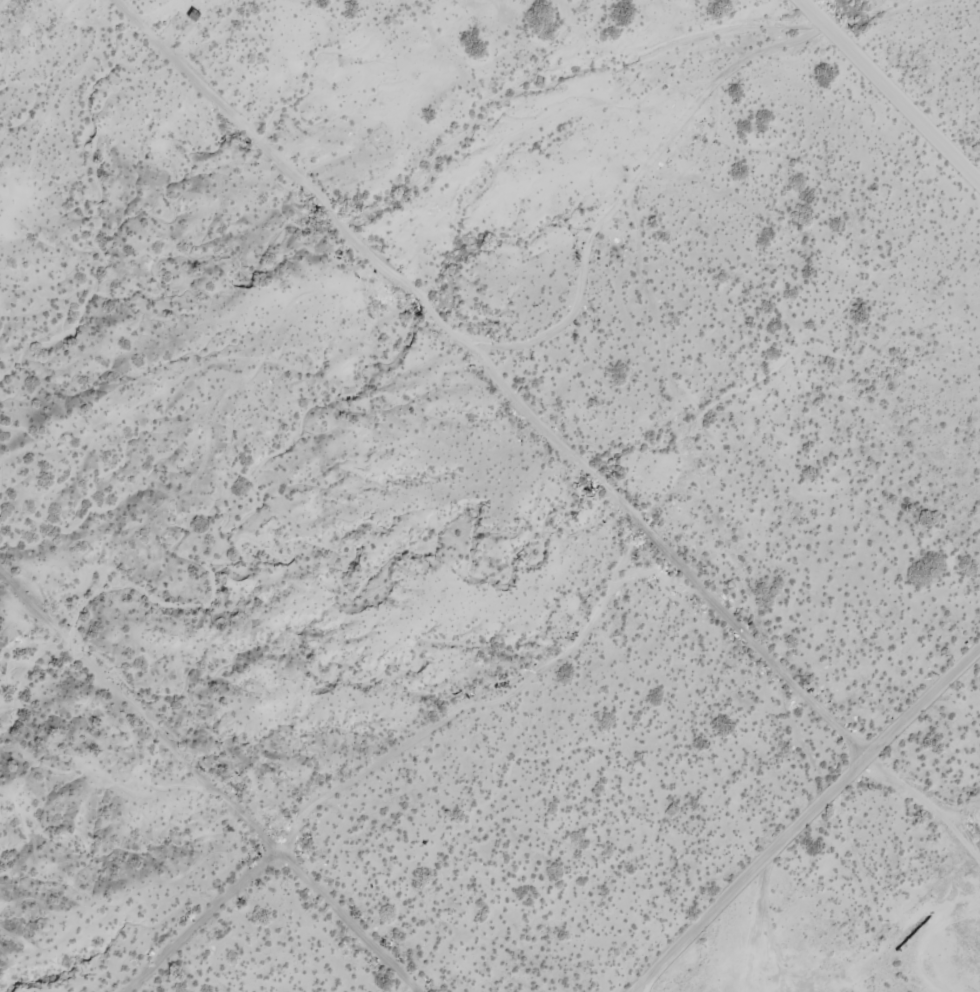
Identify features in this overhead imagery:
road: (886, 93)
road: (809, 824)

